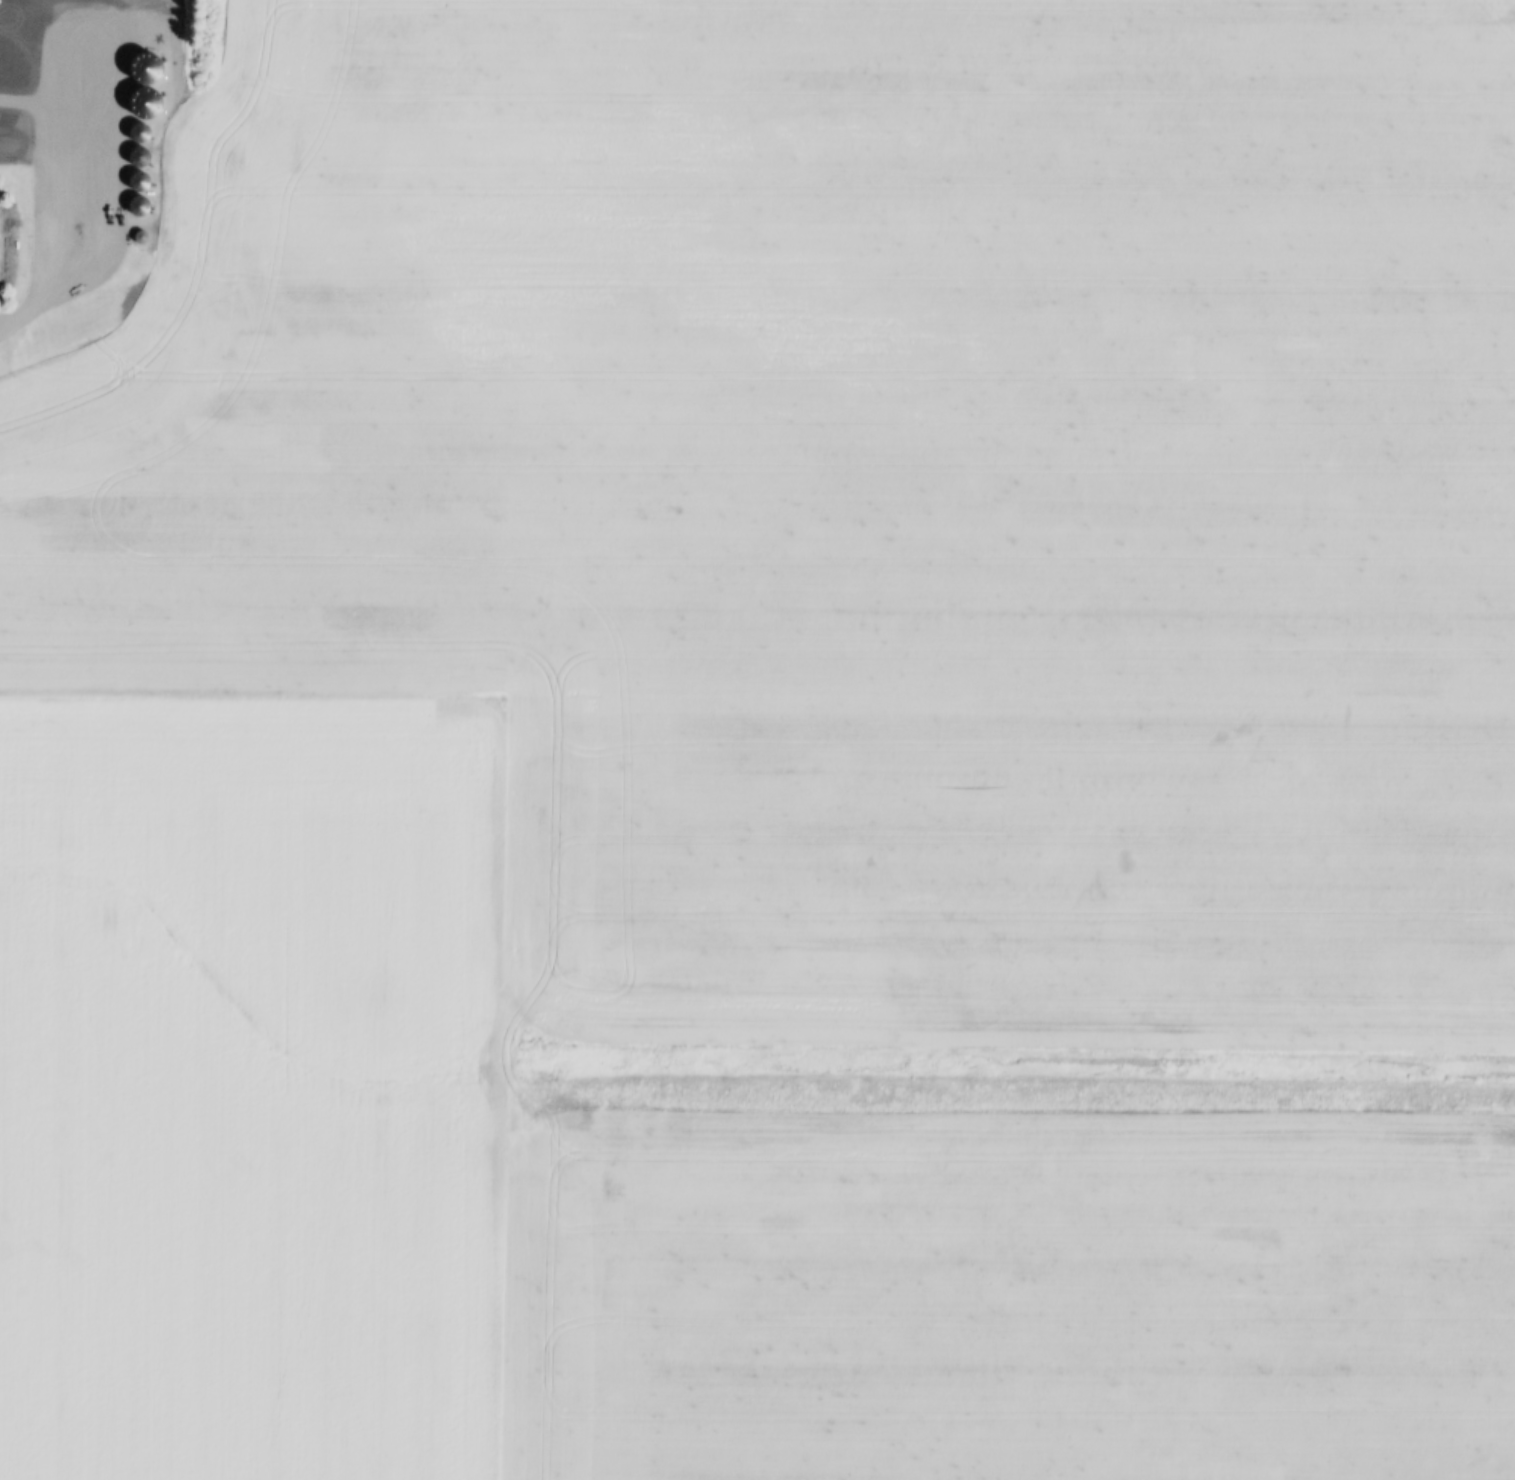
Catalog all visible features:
building: (44, 117)
building: (139, 136)
road: (76, 254)

